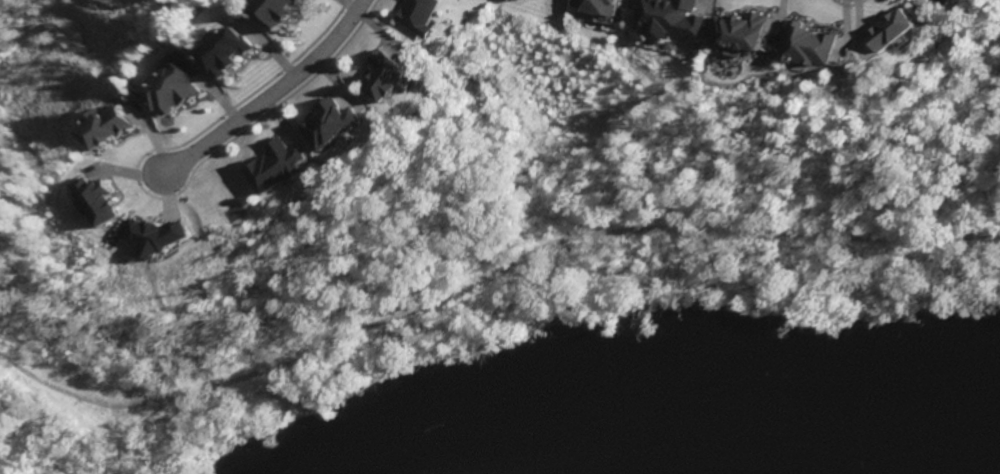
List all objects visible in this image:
building: (614, 3)
building: (277, 11)
building: (415, 15)
building: (681, 18)
building: (745, 28)
building: (897, 29)
building: (813, 43)
building: (223, 52)
building: (388, 73)
building: (168, 88)
road: (261, 94)
building: (327, 122)
building: (106, 126)
building: (274, 165)
building: (96, 200)
building: (149, 235)
road: (486, 277)

